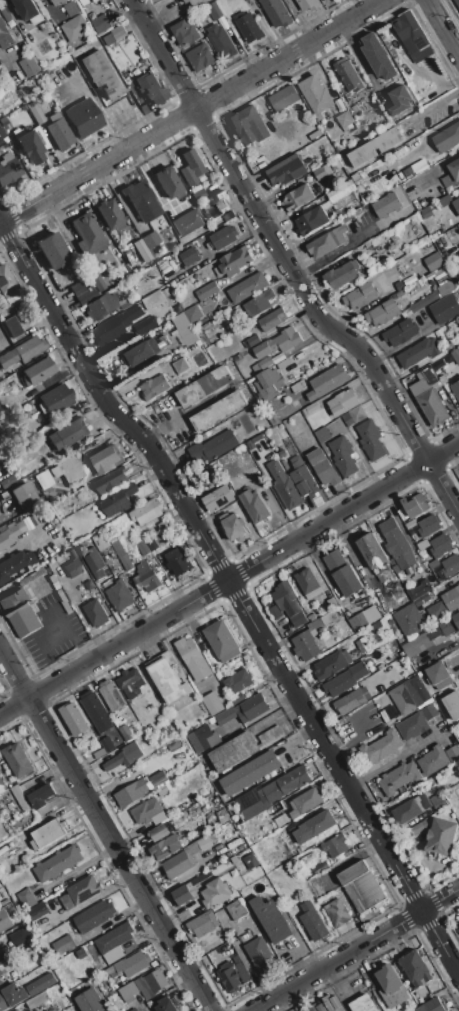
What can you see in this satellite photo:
building: (93, 0)
building: (186, 0)
building: (247, 0)
building: (58, 2)
building: (196, 2)
building: (457, 2)
building: (308, 4)
building: (71, 8)
building: (27, 11)
building: (214, 11)
building: (276, 12)
building: (102, 22)
building: (76, 27)
building: (249, 27)
road: (441, 27)
building: (409, 31)
building: (184, 32)
building: (4, 35)
building: (114, 35)
building: (220, 41)
building: (378, 56)
building: (200, 57)
building: (29, 65)
building: (104, 75)
building: (347, 75)
building: (151, 88)
building: (315, 94)
building: (291, 96)
building: (399, 100)
road: (435, 102)
road: (194, 110)
building: (35, 114)
building: (83, 118)
building: (344, 119)
building: (247, 125)
road: (125, 126)
building: (60, 134)
building: (1, 136)
building: (447, 137)
building: (0, 142)
building: (31, 144)
building: (376, 147)
road: (444, 160)
building: (334, 165)
building: (190, 168)
building: (8, 169)
building: (286, 170)
building: (322, 172)
building: (451, 174)
building: (168, 183)
road: (418, 194)
building: (198, 195)
building: (298, 198)
building: (140, 201)
building: (444, 201)
building: (216, 202)
building: (385, 204)
building: (456, 206)
building: (426, 213)
building: (110, 215)
building: (312, 221)
road: (7, 222)
building: (186, 223)
road: (363, 226)
building: (88, 233)
building: (222, 237)
building: (149, 240)
building: (327, 241)
building: (52, 251)
road: (328, 255)
building: (190, 256)
road: (287, 261)
building: (434, 261)
building: (235, 262)
building: (341, 275)
building: (93, 277)
building: (447, 279)
building: (399, 286)
building: (247, 287)
building: (7, 290)
building: (207, 290)
building: (82, 293)
building: (360, 295)
building: (153, 299)
building: (124, 301)
building: (425, 301)
building: (259, 303)
building: (101, 307)
building: (444, 308)
building: (382, 312)
building: (193, 313)
building: (273, 319)
building: (145, 325)
building: (116, 326)
building: (434, 326)
building: (13, 327)
building: (184, 329)
building: (400, 332)
building: (438, 334)
building: (253, 340)
building: (278, 343)
building: (22, 352)
building: (141, 352)
building: (418, 353)
building: (455, 355)
building: (265, 363)
building: (283, 364)
building: (180, 365)
building: (35, 373)
building: (326, 382)
building: (268, 383)
building: (204, 386)
building: (154, 387)
building: (298, 387)
building: (456, 389)
building: (431, 397)
building: (56, 400)
building: (344, 401)
building: (310, 408)
building: (219, 411)
building: (357, 413)
building: (272, 417)
road: (160, 426)
building: (68, 433)
building: (322, 434)
building: (370, 440)
building: (214, 447)
building: (282, 453)
building: (343, 457)
building: (107, 459)
building: (322, 467)
building: (69, 469)
building: (303, 478)
building: (43, 480)
building: (112, 484)
building: (284, 486)
building: (22, 495)
building: (218, 498)
building: (119, 499)
building: (417, 505)
building: (255, 509)
building: (146, 512)
building: (165, 524)
building: (234, 526)
building: (429, 526)
building: (10, 534)
road: (21, 542)
building: (150, 543)
building: (422, 543)
building: (397, 544)
building: (441, 544)
building: (143, 548)
building: (372, 551)
building: (121, 554)
building: (94, 562)
building: (179, 562)
building: (433, 563)
building: (14, 564)
building: (73, 565)
building: (450, 566)
building: (343, 572)
building: (146, 577)
building: (30, 578)
road: (229, 581)
building: (309, 583)
building: (418, 589)
building: (119, 595)
road: (238, 595)
building: (451, 598)
building: (288, 603)
building: (436, 611)
building: (275, 612)
building: (20, 613)
building: (96, 613)
building: (365, 616)
building: (409, 621)
building: (321, 622)
building: (450, 623)
building: (376, 625)
road: (67, 627)
building: (221, 640)
building: (416, 644)
building: (363, 645)
building: (305, 646)
road: (34, 653)
building: (193, 658)
road: (456, 659)
building: (332, 664)
building: (440, 676)
building: (167, 678)
building: (345, 679)
building: (237, 682)
building: (129, 683)
building: (112, 695)
building: (410, 695)
building: (237, 699)
building: (353, 700)
building: (212, 703)
building: (452, 704)
building: (252, 708)
building: (96, 711)
building: (429, 712)
building: (225, 715)
building: (73, 718)
road: (365, 719)
building: (413, 726)
building: (126, 732)
building: (202, 738)
road: (352, 742)
building: (104, 747)
building: (242, 748)
building: (381, 748)
road: (395, 755)
building: (124, 756)
building: (437, 759)
building: (19, 760)
building: (250, 772)
building: (158, 778)
building: (397, 778)
building: (1, 783)
building: (285, 784)
building: (162, 790)
building: (132, 793)
building: (41, 796)
building: (20, 797)
building: (438, 801)
building: (305, 802)
building: (254, 809)
building: (410, 809)
building: (148, 812)
building: (224, 818)
building: (281, 820)
building: (315, 826)
road: (106, 828)
building: (419, 828)
building: (160, 831)
building: (48, 833)
building: (442, 836)
building: (335, 845)
building: (165, 847)
building: (184, 858)
building: (250, 861)
building: (56, 864)
building: (320, 868)
building: (361, 887)
building: (188, 890)
building: (80, 892)
building: (216, 892)
building: (26, 898)
road: (85, 901)
road: (432, 905)
building: (237, 910)
building: (37, 911)
building: (337, 912)
building: (92, 917)
building: (270, 918)
building: (4, 920)
building: (312, 921)
building: (204, 928)
building: (23, 934)
building: (113, 943)
building: (63, 945)
building: (258, 953)
road: (304, 954)
building: (0, 960)
building: (132, 964)
road: (328, 966)
building: (415, 968)
building: (0, 974)
building: (229, 978)
building: (389, 979)
building: (0, 981)
building: (151, 985)
building: (12, 996)
building: (36, 1000)
building: (89, 1001)
building: (333, 1003)
building: (362, 1003)
road: (280, 1004)
building: (165, 1005)
building: (433, 1006)
building: (317, 1008)
building: (17, 1010)

